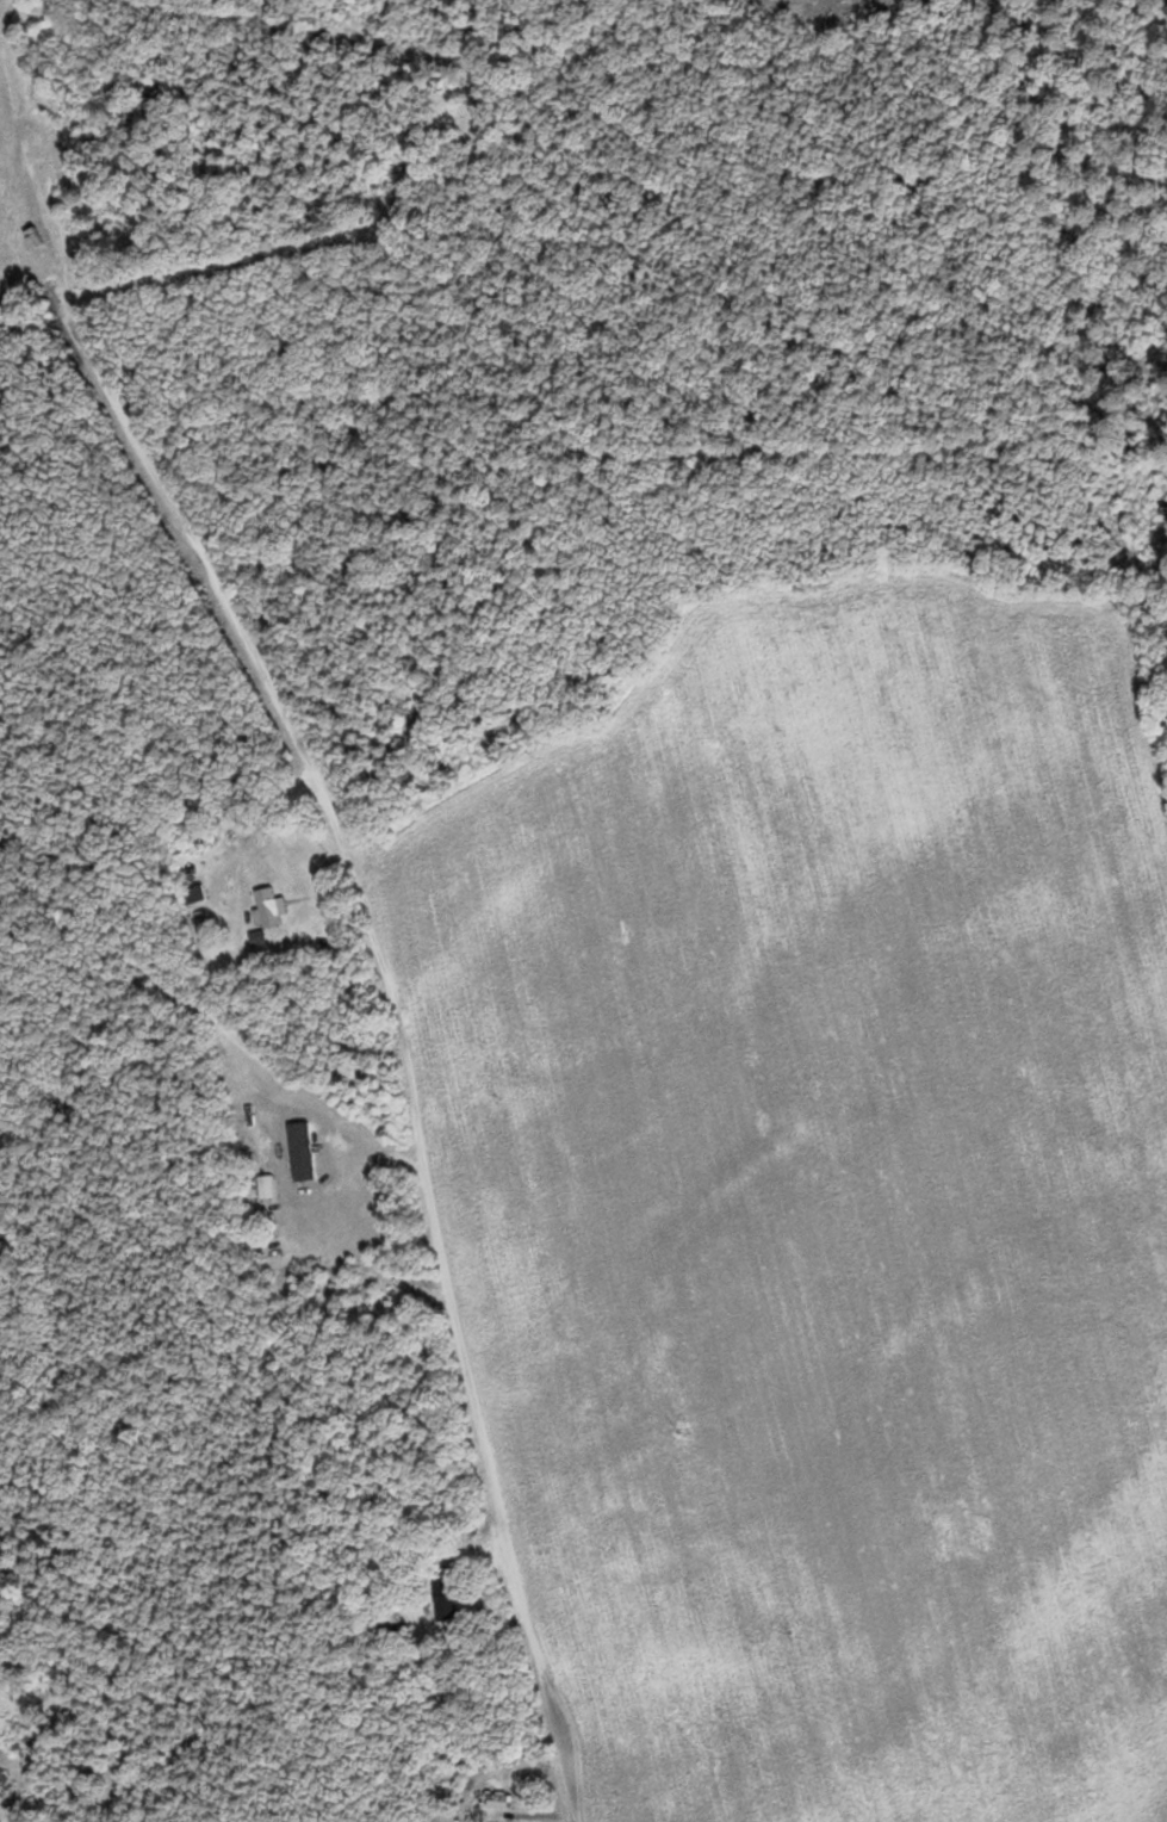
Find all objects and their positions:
building: (459, 88)
building: (197, 894)
building: (269, 906)
road: (349, 915)
building: (303, 1151)
building: (267, 1186)
building: (445, 1599)
building: (4, 1777)
building: (0, 1821)

